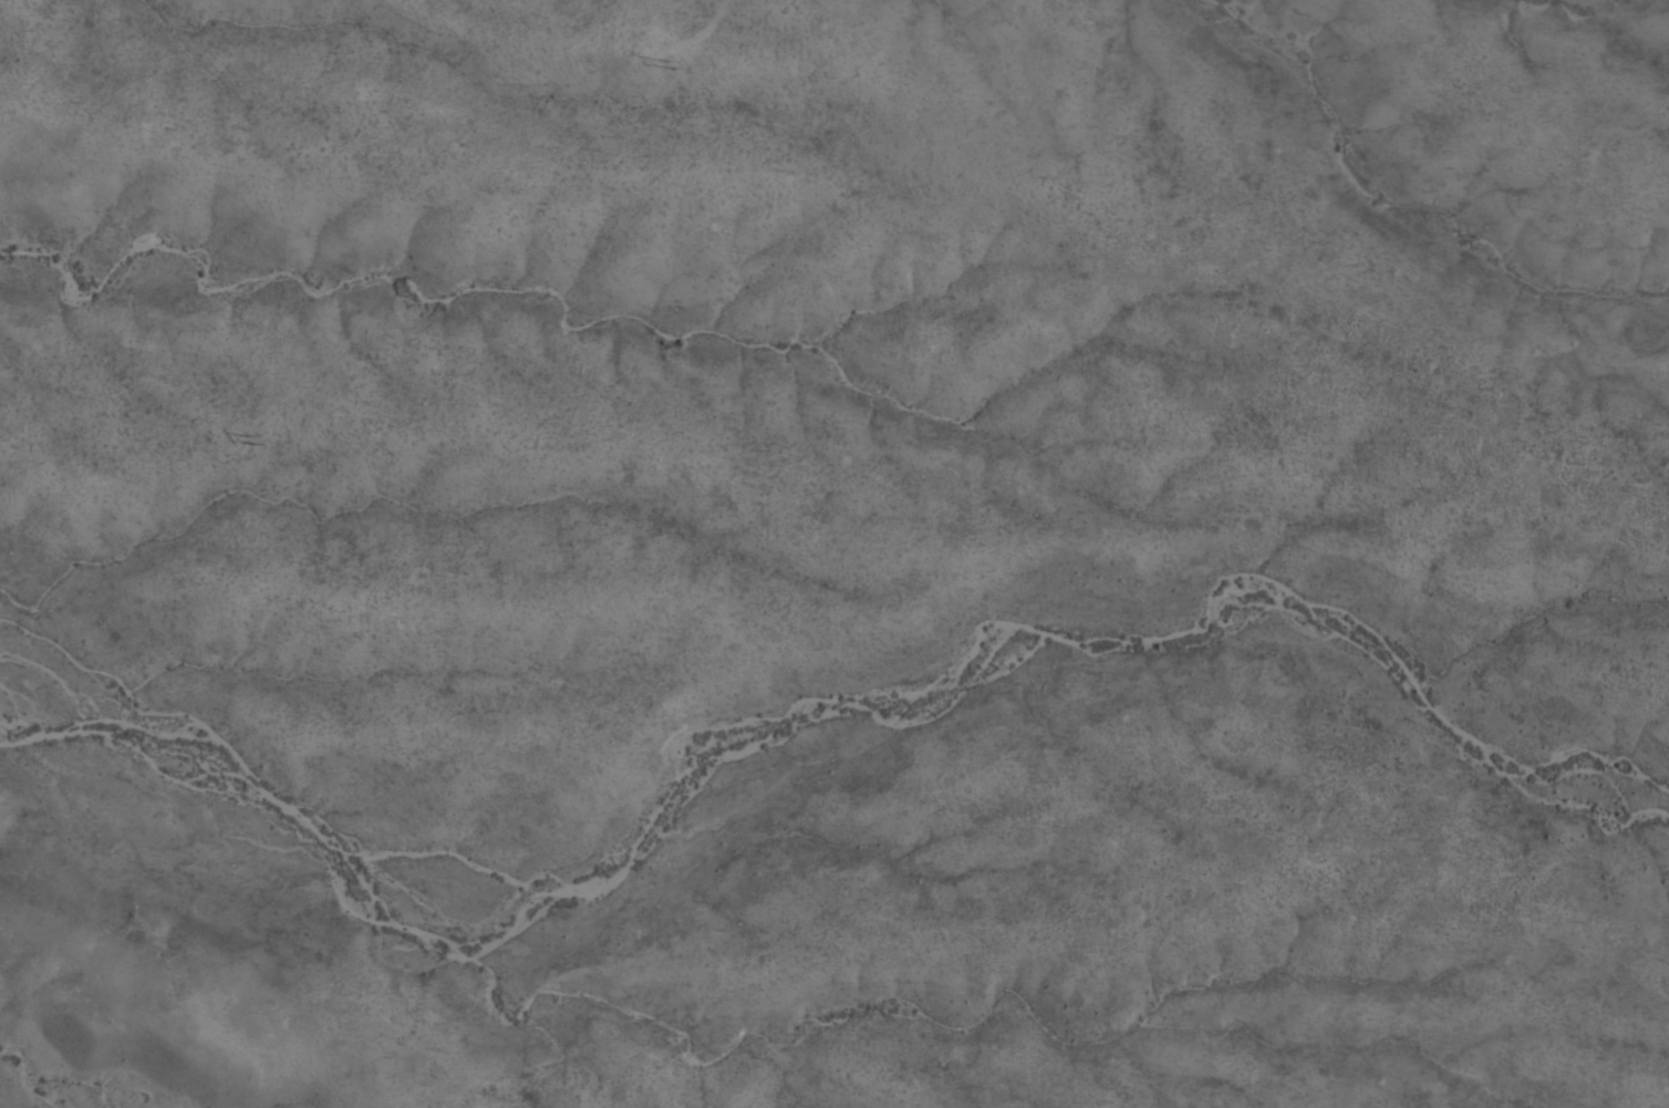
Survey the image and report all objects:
power tower: (667, 62)
power tower: (251, 438)

